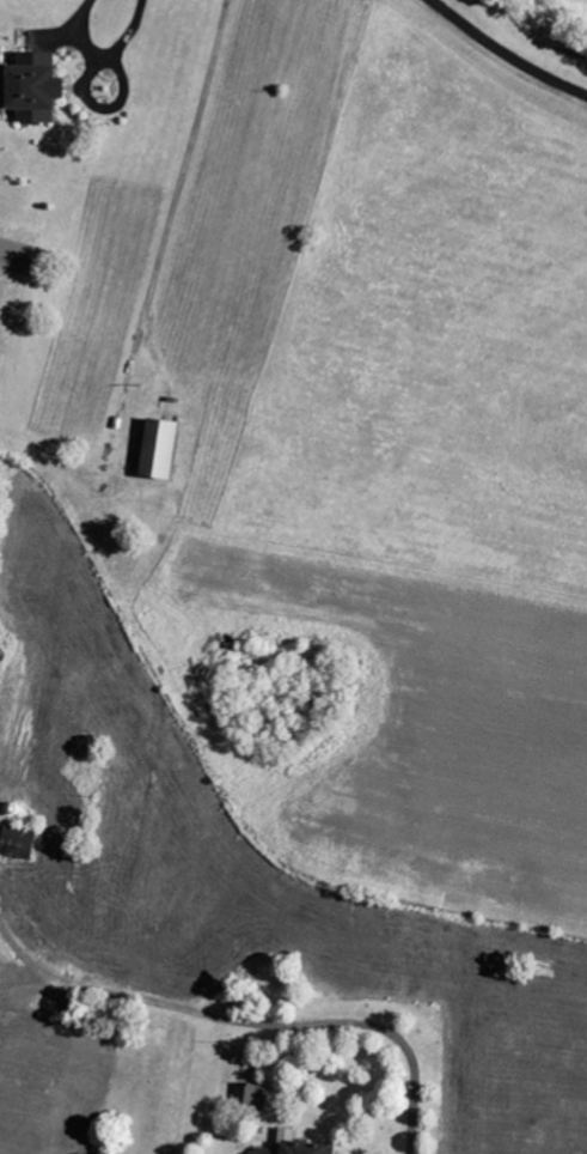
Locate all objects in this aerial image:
road: (104, 53)
road: (506, 53)
building: (47, 89)
road: (187, 177)
building: (171, 450)
building: (26, 844)
road: (245, 1025)
building: (256, 1097)
building: (311, 1146)
building: (271, 1152)

